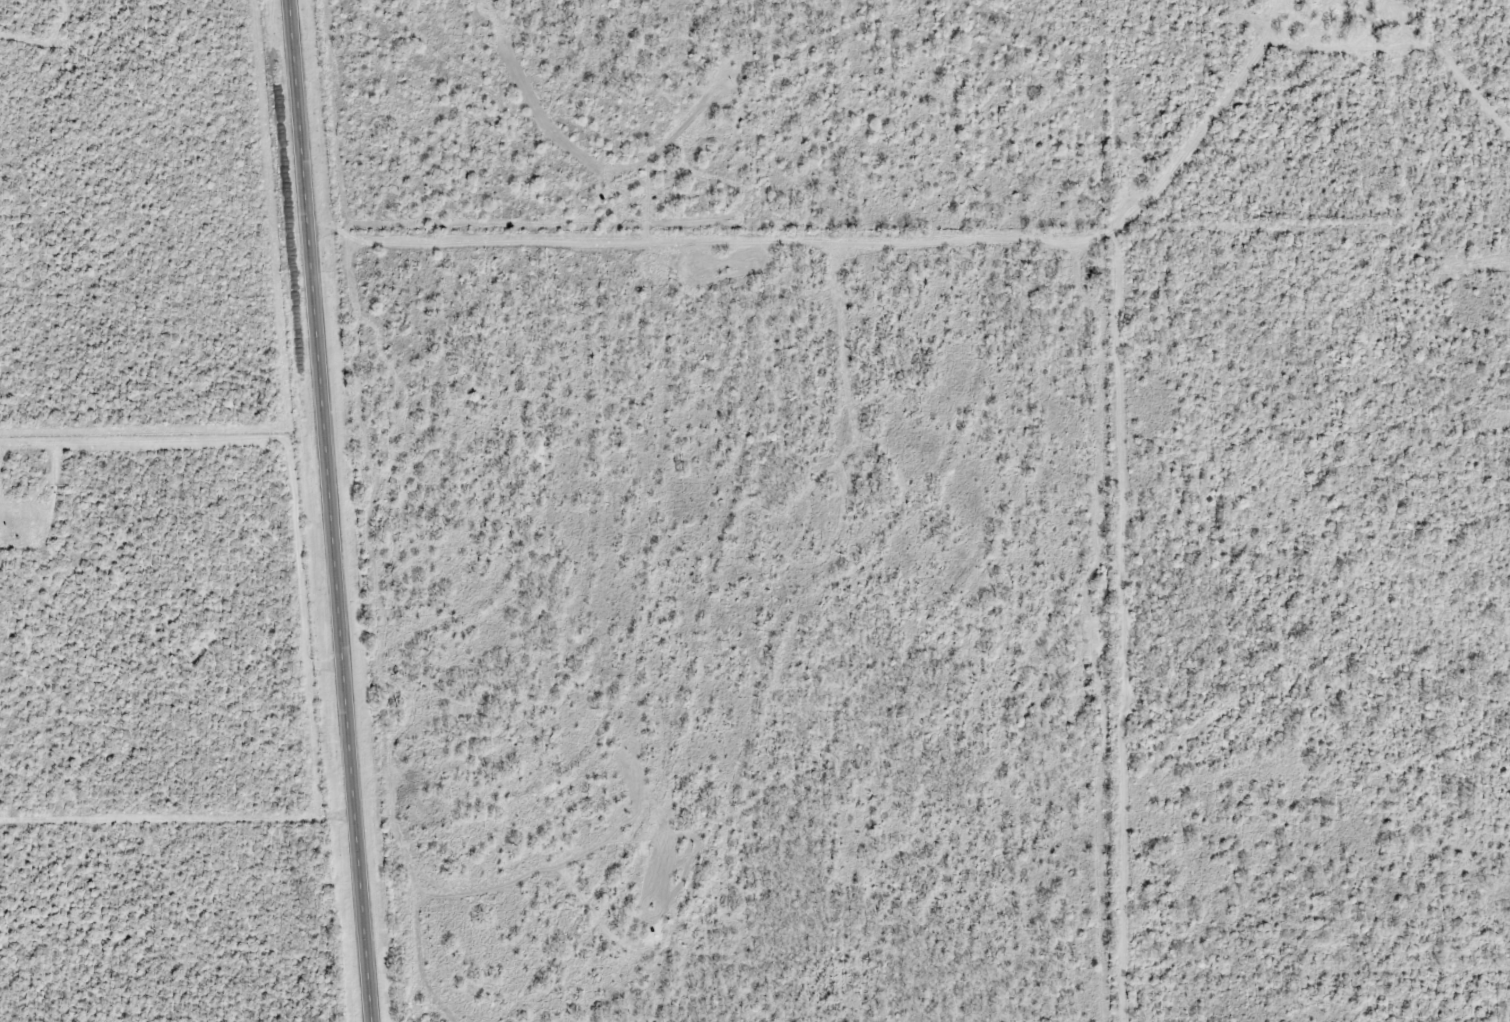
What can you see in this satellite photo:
road: (329, 511)

